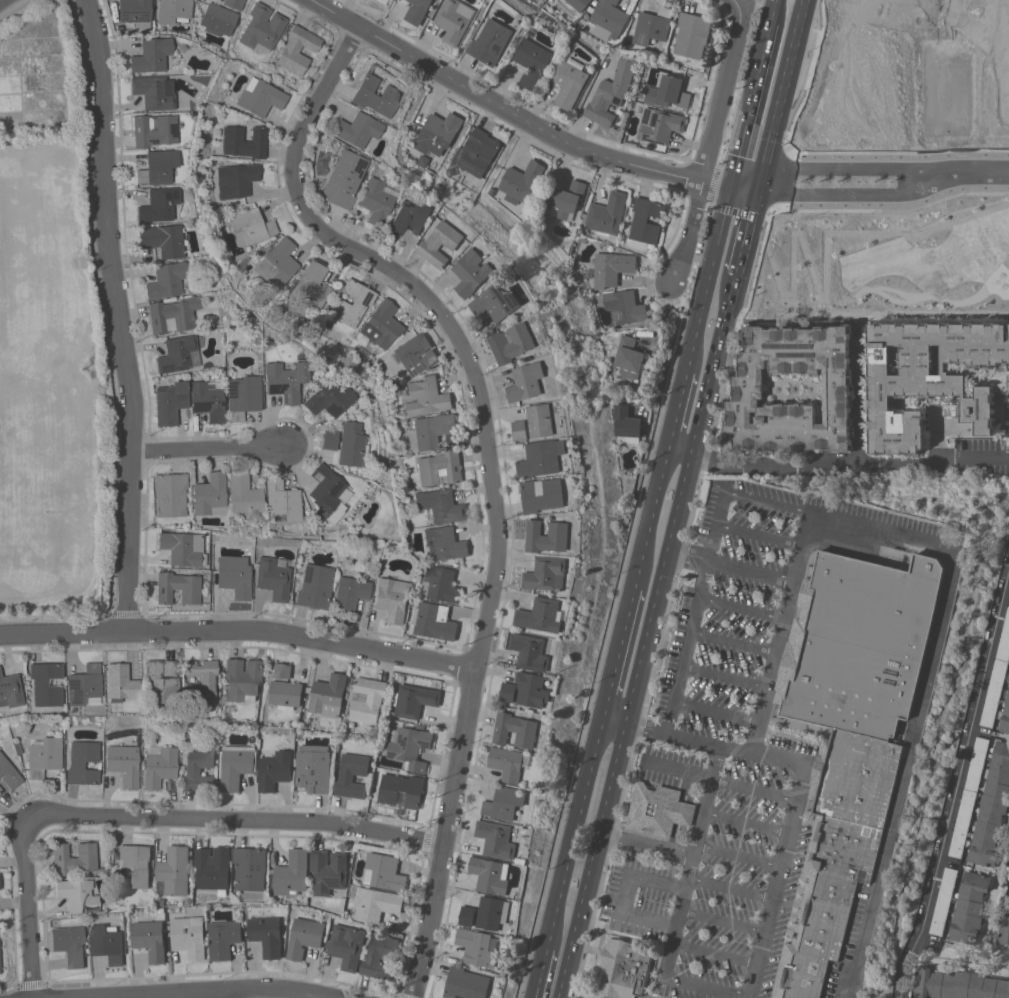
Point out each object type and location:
building: (380, 1)
building: (233, 4)
building: (579, 4)
road: (11, 7)
building: (173, 10)
building: (419, 11)
building: (135, 12)
building: (218, 19)
building: (456, 20)
building: (607, 20)
building: (653, 25)
building: (263, 27)
building: (690, 35)
building: (492, 42)
building: (297, 49)
building: (152, 54)
road: (761, 60)
building: (533, 61)
building: (570, 82)
road: (428, 84)
road: (724, 90)
building: (154, 92)
building: (611, 94)
building: (670, 94)
road: (778, 94)
building: (376, 95)
building: (261, 98)
road: (513, 113)
building: (660, 125)
building: (358, 129)
building: (154, 130)
building: (438, 133)
building: (245, 141)
building: (479, 152)
road: (739, 153)
building: (422, 160)
road: (701, 161)
building: (158, 167)
road: (961, 169)
road: (687, 176)
building: (342, 177)
building: (236, 180)
building: (521, 181)
road: (913, 182)
road: (713, 185)
traffic signals: (732, 185)
road: (743, 187)
traffic signals: (755, 190)
building: (568, 199)
building: (376, 200)
building: (159, 204)
road: (736, 211)
building: (607, 213)
building: (413, 214)
building: (647, 220)
building: (251, 226)
road: (744, 232)
road: (688, 233)
building: (162, 239)
building: (441, 243)
road: (124, 244)
building: (278, 262)
building: (613, 267)
building: (473, 272)
road: (709, 278)
building: (167, 280)
building: (312, 284)
building: (352, 303)
building: (497, 303)
building: (625, 306)
road: (117, 314)
building: (173, 314)
building: (382, 324)
road: (659, 341)
building: (513, 342)
building: (416, 353)
building: (177, 354)
building: (628, 358)
road: (110, 360)
building: (930, 378)
building: (285, 380)
building: (527, 381)
park: (46, 382)
building: (1002, 390)
building: (749, 391)
building: (330, 396)
building: (426, 397)
building: (243, 398)
building: (207, 401)
building: (170, 402)
road: (858, 406)
road: (678, 407)
building: (541, 420)
building: (626, 421)
building: (430, 431)
building: (520, 431)
building: (328, 439)
building: (351, 445)
road: (150, 447)
road: (206, 448)
building: (542, 457)
road: (973, 459)
road: (801, 460)
road: (489, 465)
building: (440, 468)
building: (243, 493)
building: (170, 494)
building: (210, 494)
building: (327, 494)
building: (543, 494)
road: (679, 499)
building: (282, 500)
road: (769, 502)
building: (440, 506)
road: (650, 514)
road: (714, 523)
road: (758, 533)
building: (547, 536)
building: (445, 543)
building: (183, 548)
building: (546, 573)
building: (235, 575)
building: (274, 577)
building: (441, 584)
building: (315, 586)
building: (177, 588)
building: (350, 594)
building: (393, 598)
road: (941, 604)
road: (669, 607)
road: (740, 607)
road: (127, 613)
building: (541, 615)
building: (434, 621)
road: (239, 628)
road: (732, 642)
road: (464, 644)
building: (860, 644)
road: (685, 646)
road: (616, 650)
building: (531, 651)
road: (772, 665)
building: (282, 670)
road: (724, 676)
building: (997, 677)
building: (243, 679)
building: (161, 681)
building: (201, 681)
building: (120, 682)
building: (45, 683)
building: (84, 684)
building: (10, 689)
building: (533, 689)
building: (509, 692)
building: (286, 694)
building: (329, 695)
building: (368, 699)
building: (415, 700)
road: (715, 711)
building: (1005, 717)
road: (612, 719)
building: (516, 730)
building: (411, 747)
building: (44, 755)
building: (83, 762)
building: (124, 763)
building: (508, 763)
building: (235, 765)
road: (959, 765)
building: (160, 767)
road: (678, 767)
building: (314, 768)
building: (199, 769)
building: (275, 770)
building: (9, 772)
building: (352, 776)
building: (856, 778)
building: (401, 789)
road: (752, 789)
road: (797, 791)
building: (968, 796)
road: (705, 801)
building: (505, 802)
building: (658, 809)
building: (992, 809)
road: (148, 819)
road: (745, 821)
road: (417, 822)
road: (572, 831)
building: (497, 839)
road: (737, 854)
building: (1008, 856)
building: (74, 858)
road: (591, 860)
building: (135, 865)
building: (251, 868)
building: (214, 869)
building: (175, 870)
building: (328, 871)
building: (384, 872)
building: (291, 874)
building: (1008, 874)
building: (491, 875)
road: (1008, 885)
road: (730, 887)
road: (622, 894)
building: (77, 895)
building: (943, 901)
building: (1006, 901)
building: (826, 902)
building: (375, 904)
building: (970, 907)
building: (493, 912)
road: (679, 912)
building: (468, 915)
road: (722, 920)
building: (1002, 930)
building: (306, 933)
building: (267, 935)
building: (190, 936)
building: (224, 938)
building: (150, 939)
building: (108, 943)
building: (70, 945)
building: (347, 945)
building: (477, 947)
road: (715, 952)
building: (380, 956)
building: (624, 969)
road: (538, 973)
road: (900, 982)
building: (466, 984)
building: (959, 984)
road: (227, 994)
road: (214, 996)
road: (749, 997)

